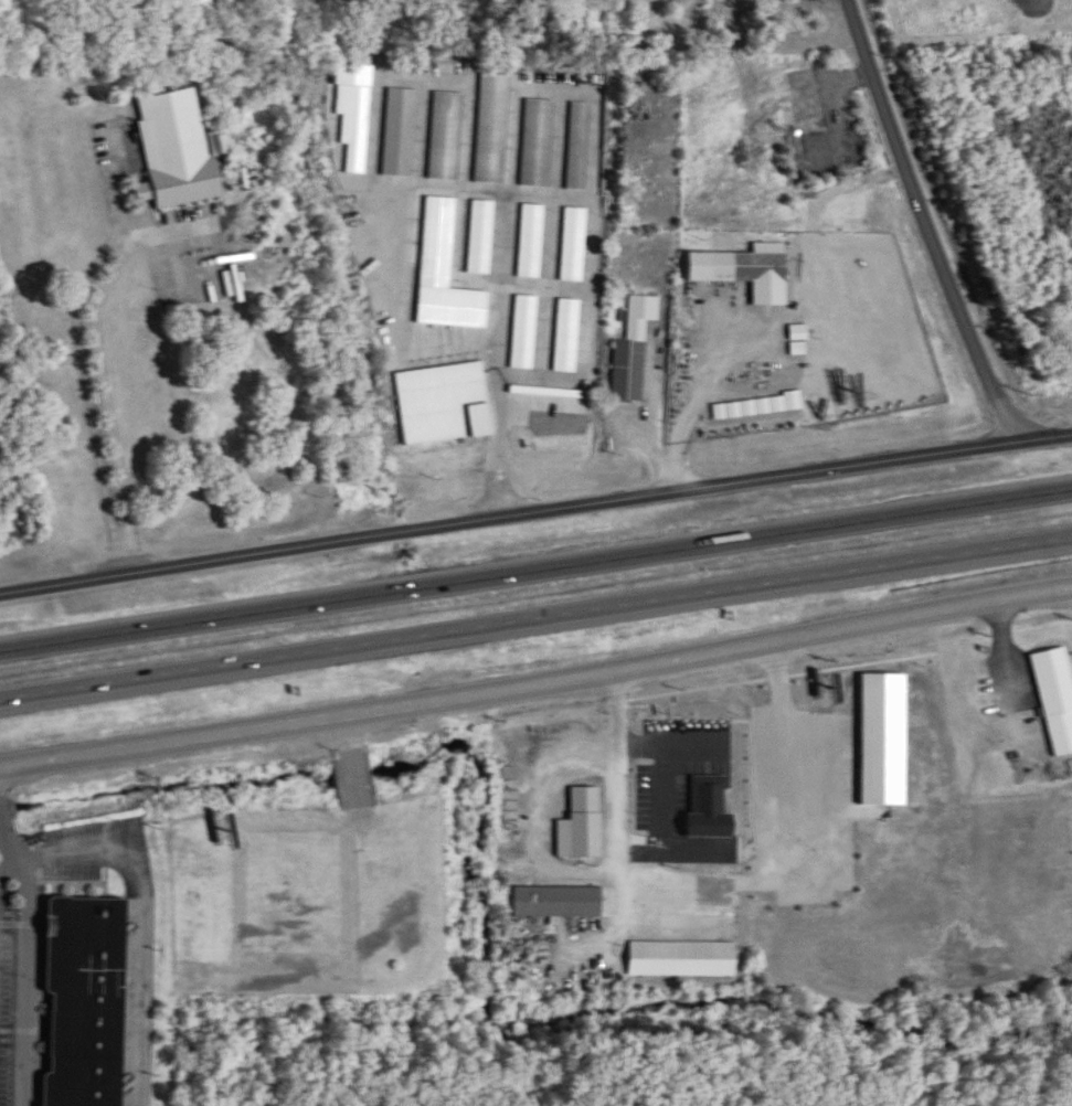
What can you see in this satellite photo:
building: (804, 99)
building: (493, 129)
building: (401, 134)
building: (447, 137)
building: (215, 143)
building: (539, 143)
building: (581, 147)
building: (174, 150)
road: (922, 220)
building: (481, 238)
building: (532, 243)
building: (575, 246)
building: (746, 272)
building: (524, 333)
building: (569, 337)
building: (635, 351)
road: (95, 383)
building: (566, 400)
road: (703, 400)
building: (757, 408)
road: (1050, 422)
road: (651, 424)
road: (495, 439)
road: (720, 471)
road: (206, 549)
road: (535, 572)
road: (535, 623)
road: (1007, 642)
road: (537, 673)
building: (1057, 698)
road: (620, 779)
building: (585, 823)
road: (7, 866)
building: (558, 904)
road: (138, 922)
road: (23, 955)
building: (683, 961)
building: (86, 1002)

